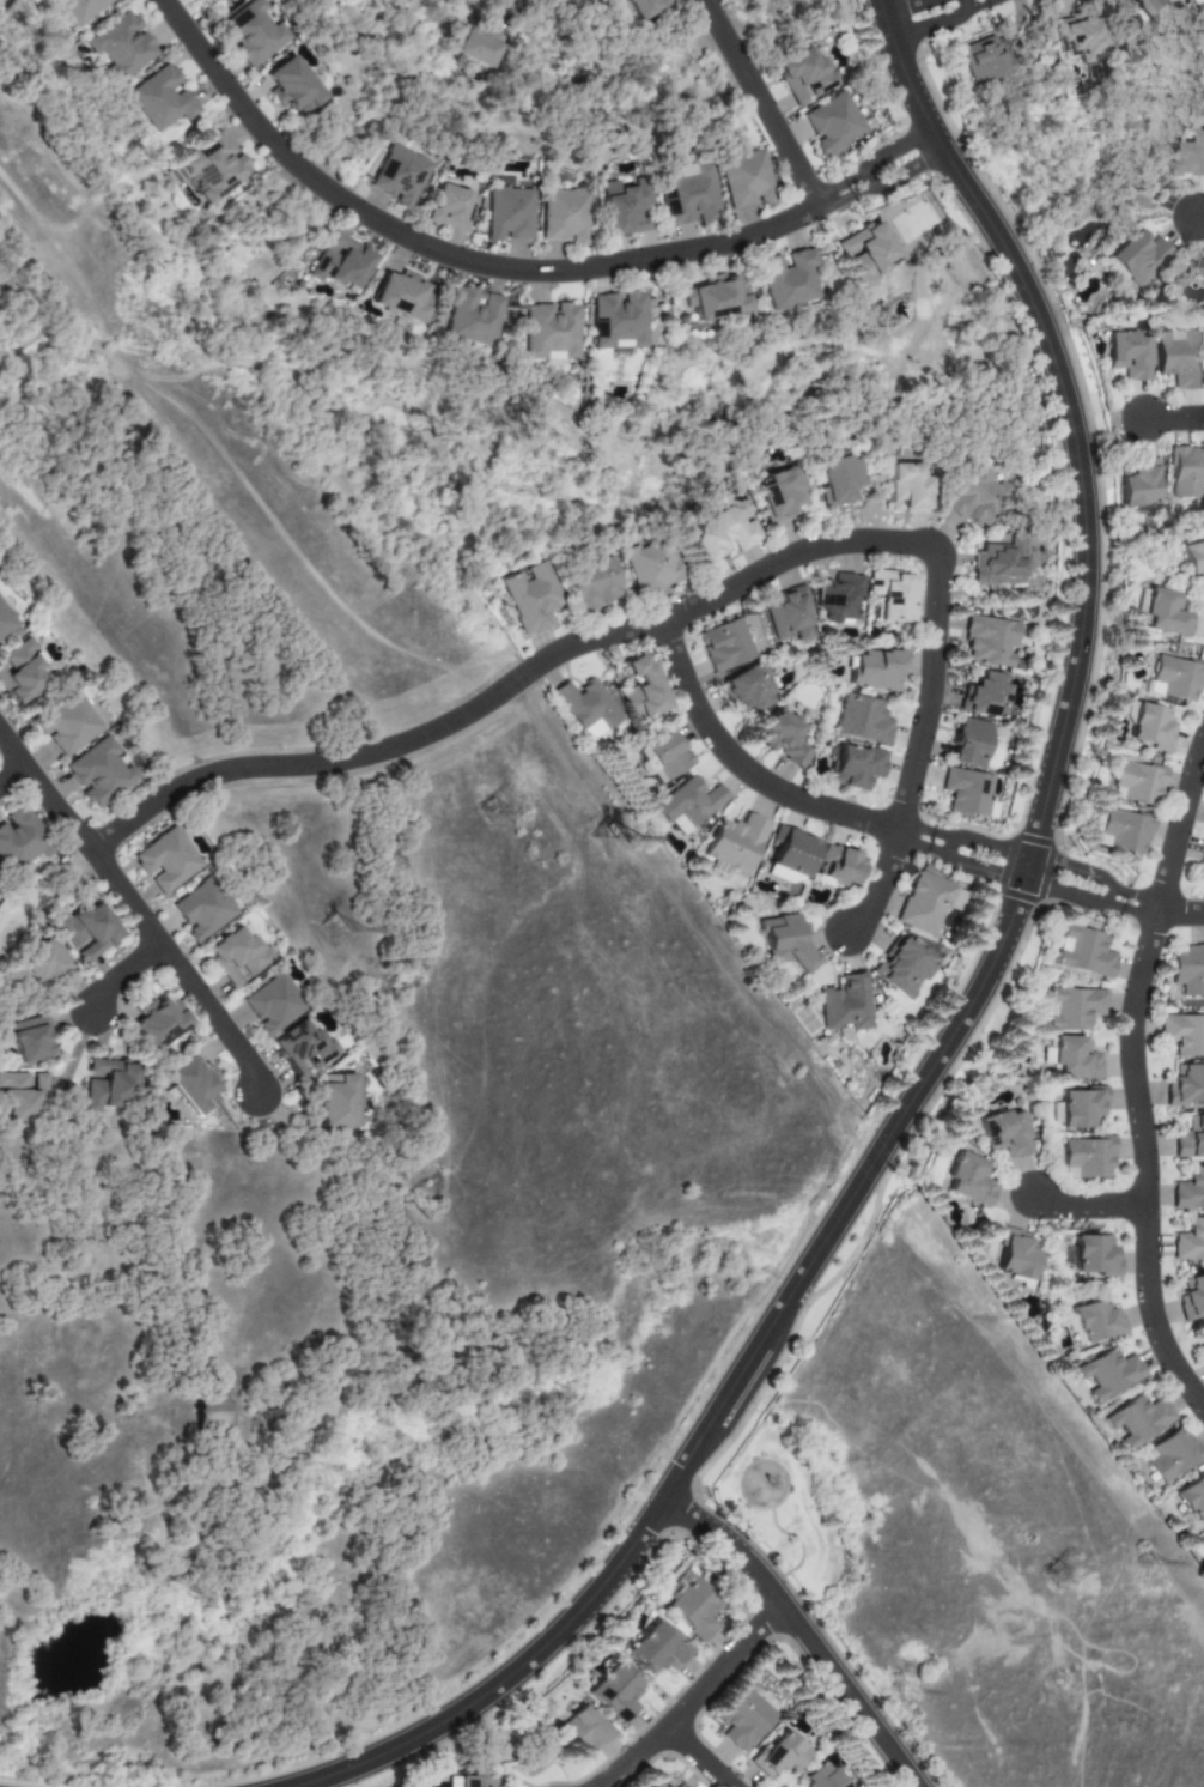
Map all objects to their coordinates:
building: (200, 0)
building: (213, 0)
building: (1185, 0)
road: (504, 5)
building: (643, 7)
building: (80, 8)
road: (934, 16)
building: (1160, 17)
building: (253, 34)
building: (1082, 37)
power tower: (13, 41)
building: (121, 46)
building: (476, 49)
building: (981, 59)
building: (803, 75)
building: (292, 86)
building: (162, 99)
road: (765, 104)
building: (834, 123)
building: (1188, 160)
building: (214, 168)
building: (400, 176)
building: (746, 180)
building: (686, 194)
building: (450, 207)
building: (624, 207)
building: (509, 214)
building: (564, 216)
road: (1200, 217)
building: (866, 253)
building: (1136, 259)
building: (341, 263)
road: (511, 271)
building: (1202, 275)
building: (788, 279)
building: (402, 295)
building: (716, 296)
building: (473, 317)
building: (619, 320)
building: (549, 331)
building: (1125, 355)
building: (1176, 359)
road: (1174, 422)
building: (1186, 471)
building: (839, 479)
building: (1137, 486)
building: (907, 489)
building: (778, 493)
building: (978, 498)
building: (720, 533)
building: (1193, 563)
building: (999, 564)
building: (649, 565)
building: (592, 584)
building: (892, 595)
building: (531, 598)
building: (838, 598)
building: (1161, 614)
building: (789, 616)
building: (6, 619)
road: (638, 629)
building: (991, 641)
building: (725, 646)
building: (876, 671)
building: (20, 673)
building: (1172, 679)
building: (748, 689)
building: (641, 690)
building: (986, 695)
building: (586, 708)
building: (863, 720)
building: (68, 725)
building: (1145, 729)
building: (783, 738)
building: (969, 743)
building: (664, 757)
building: (856, 767)
building: (99, 773)
road: (13, 779)
building: (1132, 785)
road: (47, 793)
building: (969, 793)
road: (804, 802)
building: (689, 805)
power tower: (492, 816)
building: (1117, 834)
building: (19, 841)
building: (735, 843)
power tower: (607, 844)
building: (791, 856)
building: (1200, 859)
building: (166, 860)
building: (838, 865)
building: (1203, 878)
road: (883, 889)
road: (1117, 898)
building: (925, 904)
building: (202, 910)
power tower: (333, 929)
building: (87, 931)
building: (783, 941)
building: (1083, 952)
building: (237, 956)
building: (43, 962)
building: (904, 969)
building: (1185, 970)
road: (183, 974)
road: (126, 977)
road: (979, 1000)
building: (273, 1004)
building: (845, 1004)
building: (1074, 1007)
building: (157, 1024)
building: (1182, 1034)
building: (32, 1040)
building: (302, 1049)
building: (1075, 1059)
road: (1133, 1077)
building: (108, 1085)
building: (194, 1085)
building: (1190, 1085)
building: (23, 1095)
building: (336, 1102)
building: (1078, 1109)
building: (1004, 1133)
building: (1190, 1139)
building: (1083, 1159)
building: (969, 1180)
building: (1188, 1191)
road: (1089, 1206)
building: (1188, 1242)
building: (1016, 1255)
building: (1090, 1259)
building: (1191, 1298)
building: (1093, 1323)
building: (1200, 1350)
building: (1106, 1376)
building: (1136, 1422)
building: (1169, 1456)
building: (1191, 1497)
building: (1202, 1540)
power tower: (1148, 1569)
power tower: (1058, 1575)
building: (694, 1609)
road: (808, 1632)
building: (657, 1649)
building: (616, 1694)
power tower: (901, 1696)
road: (703, 1701)
building: (743, 1719)
building: (584, 1730)
building: (780, 1755)
road: (705, 1759)
building: (825, 1777)
building: (474, 1779)
building: (658, 1785)
building: (680, 1786)

